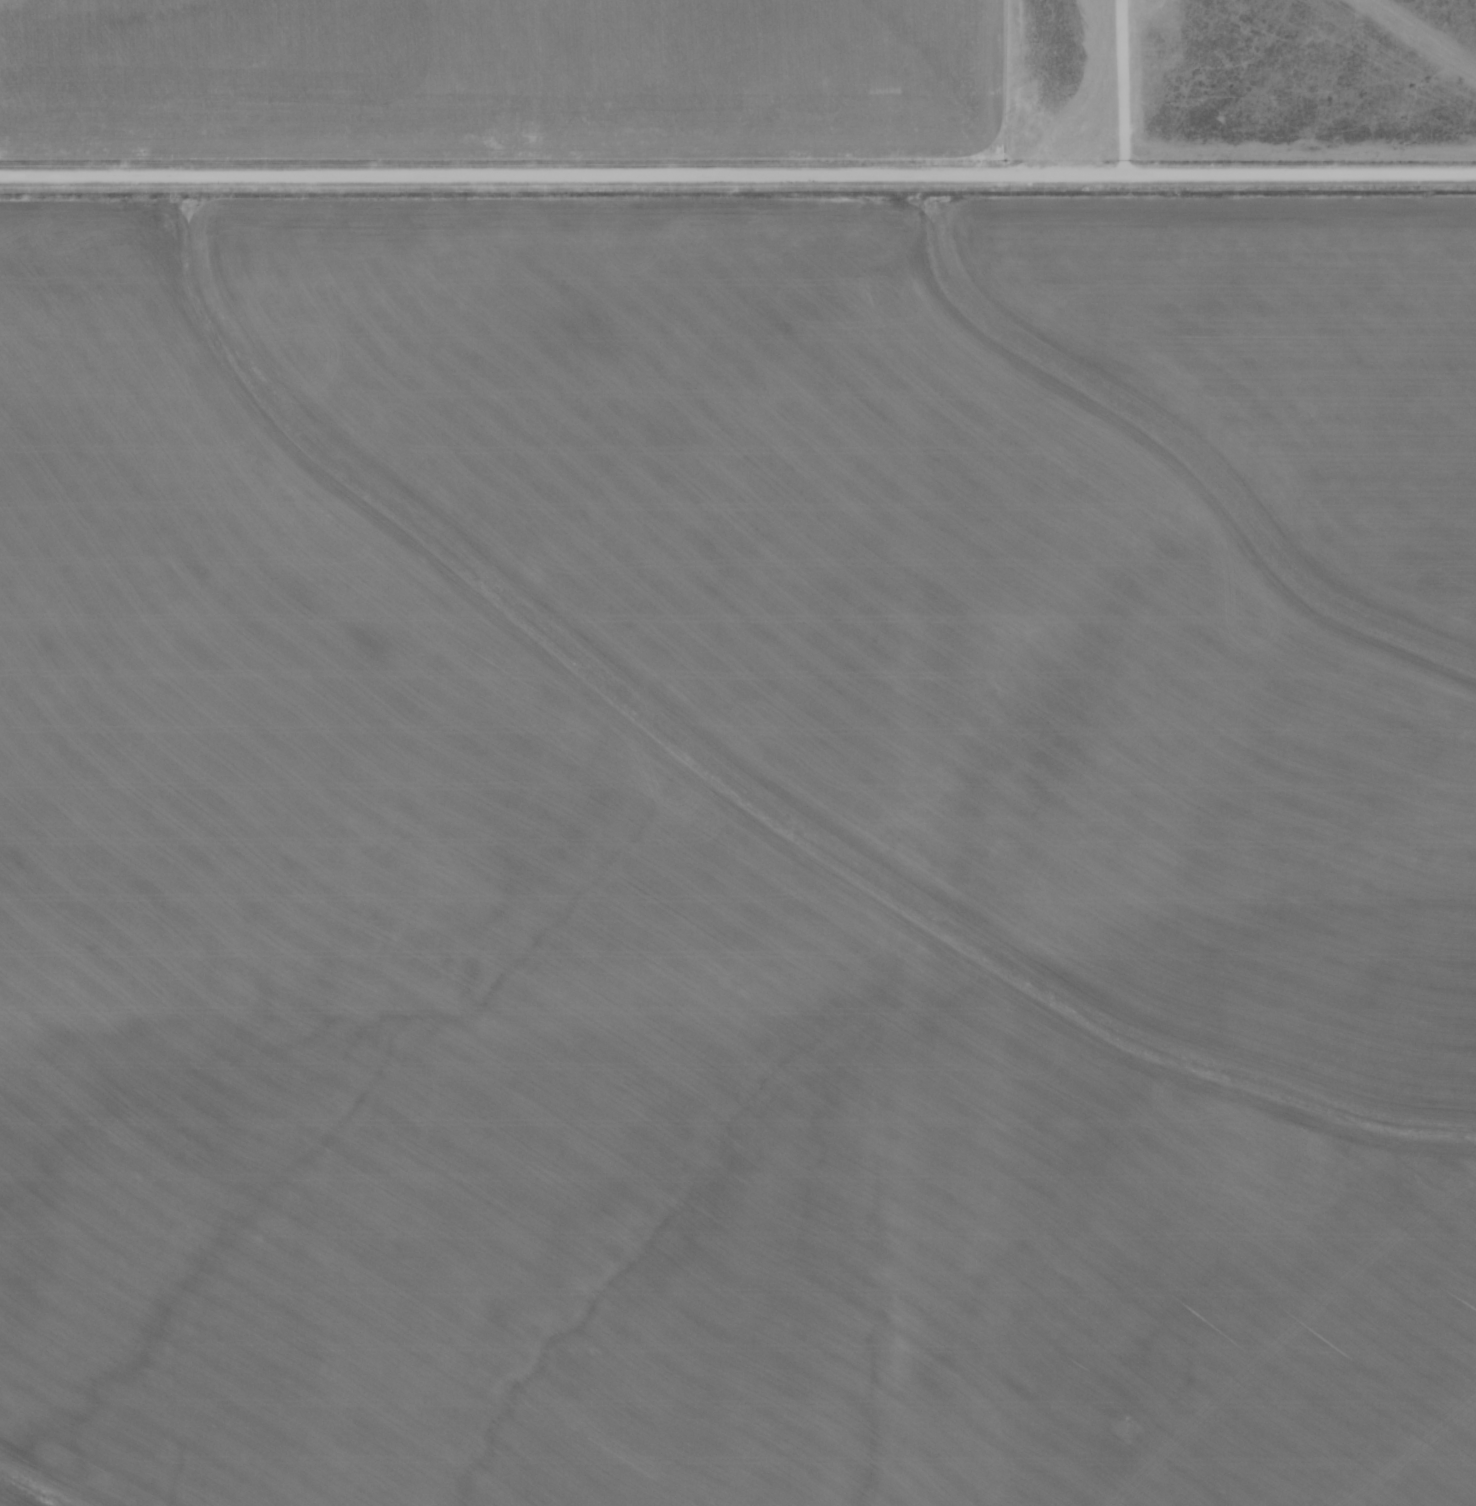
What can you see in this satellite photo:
road: (1122, 87)
road: (737, 173)

